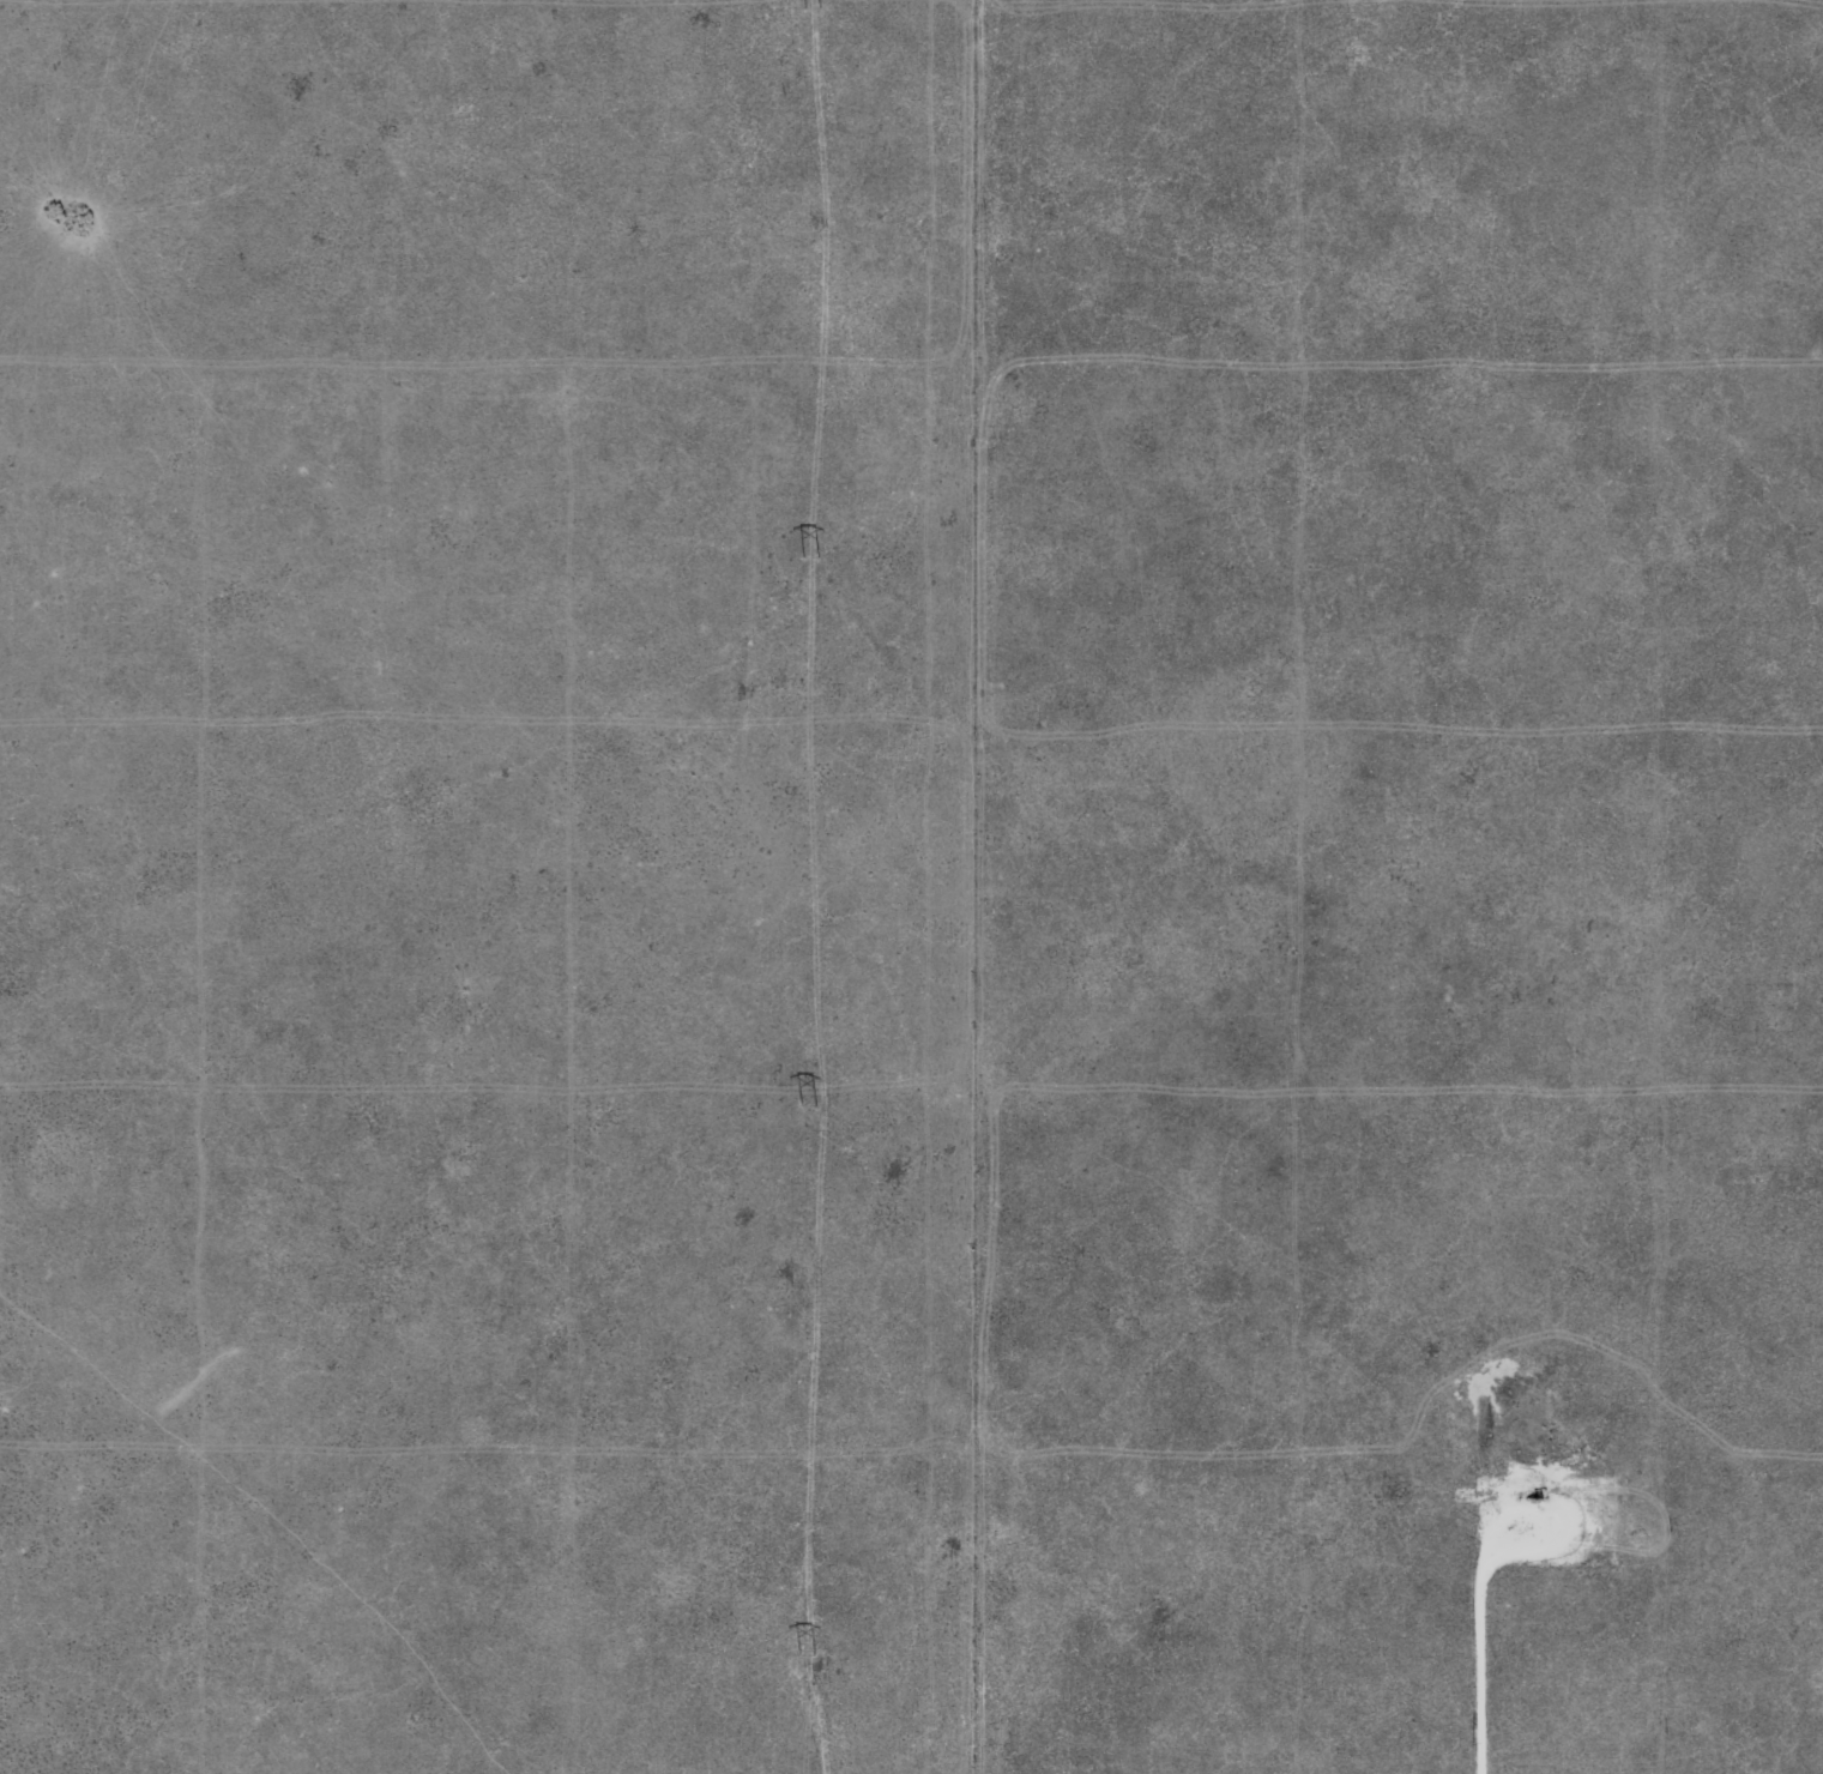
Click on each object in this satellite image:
power tower: (815, 6)
power tower: (814, 551)
power tower: (810, 1105)
power tower: (808, 1654)

